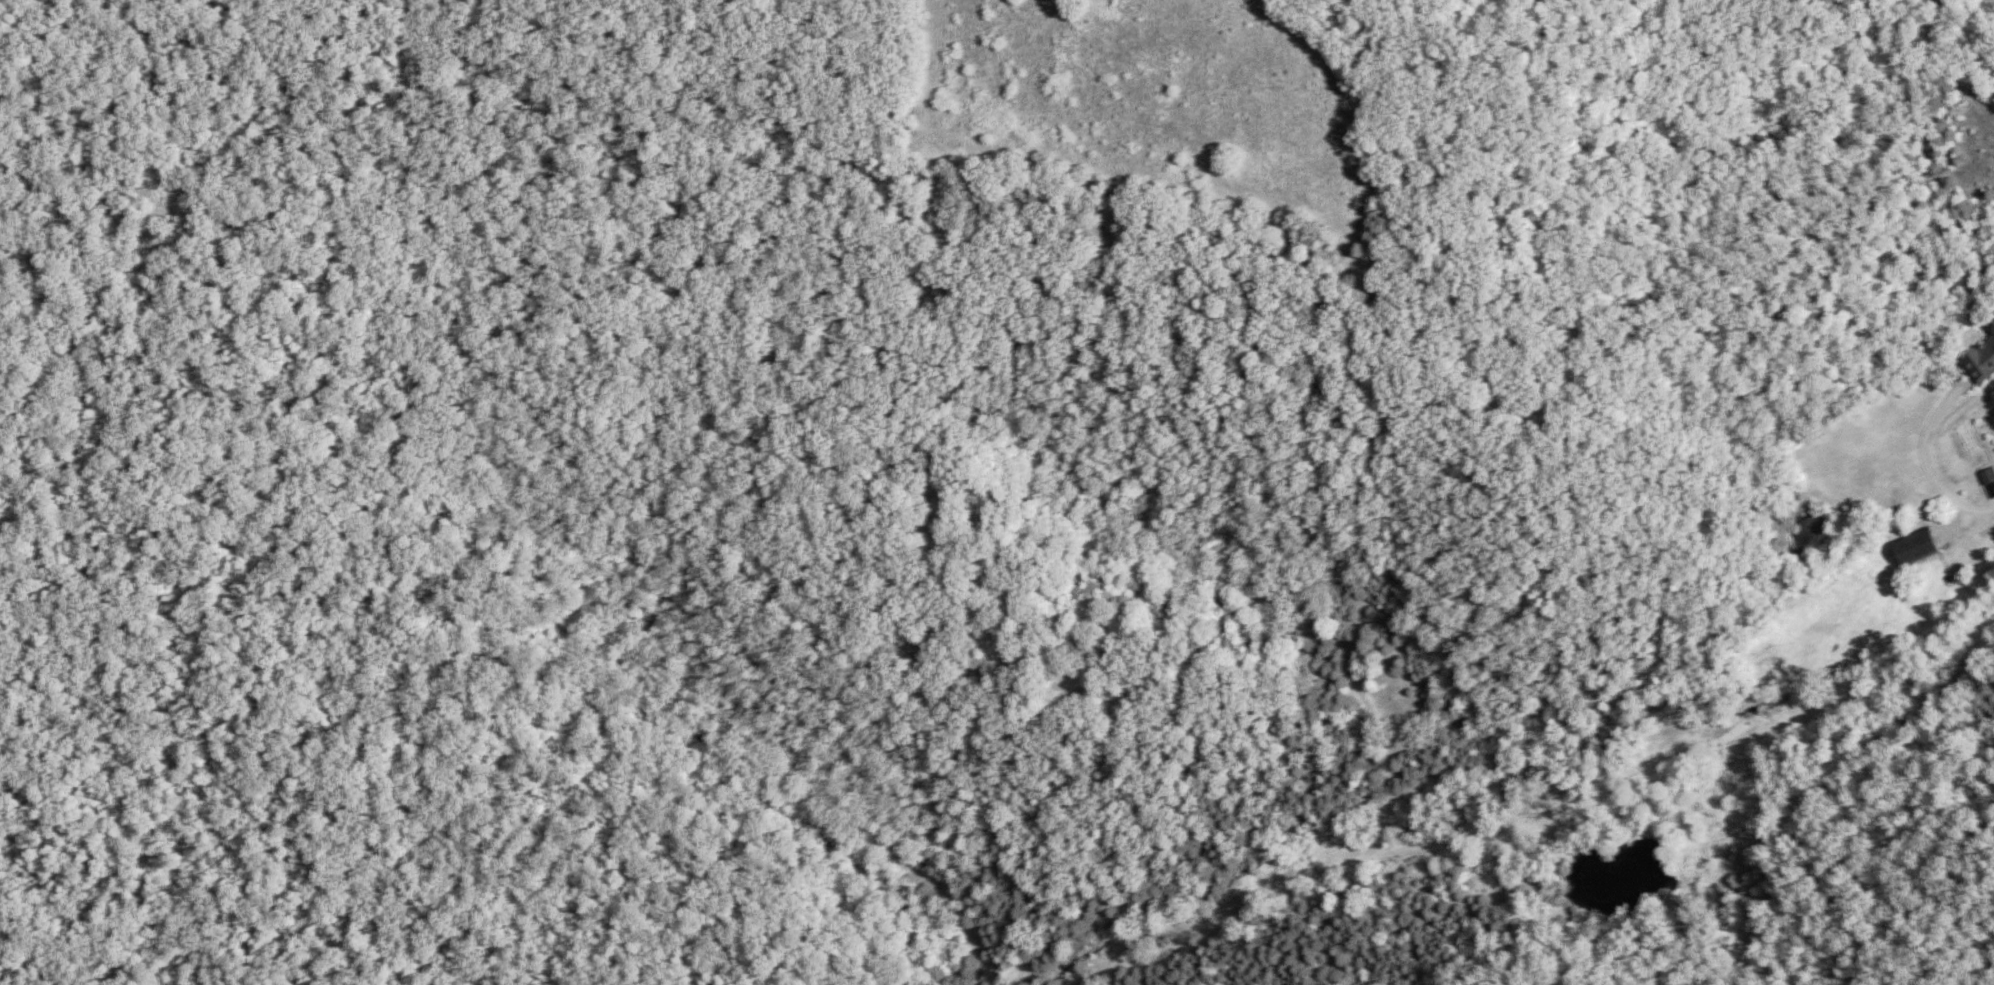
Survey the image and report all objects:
road: (1928, 464)
building: (1989, 482)
building: (1918, 547)

